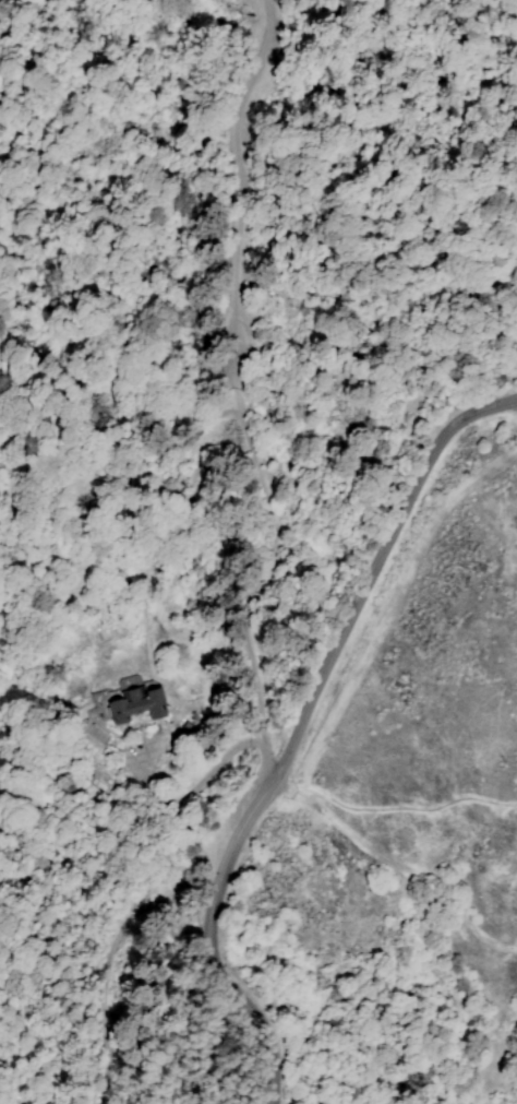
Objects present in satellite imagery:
road: (230, 195)
road: (238, 404)
road: (146, 569)
building: (130, 707)
road: (297, 729)
road: (263, 753)
road: (202, 781)
road: (280, 786)
parking lot: (236, 807)
road: (404, 807)
road: (408, 872)
road: (194, 876)

